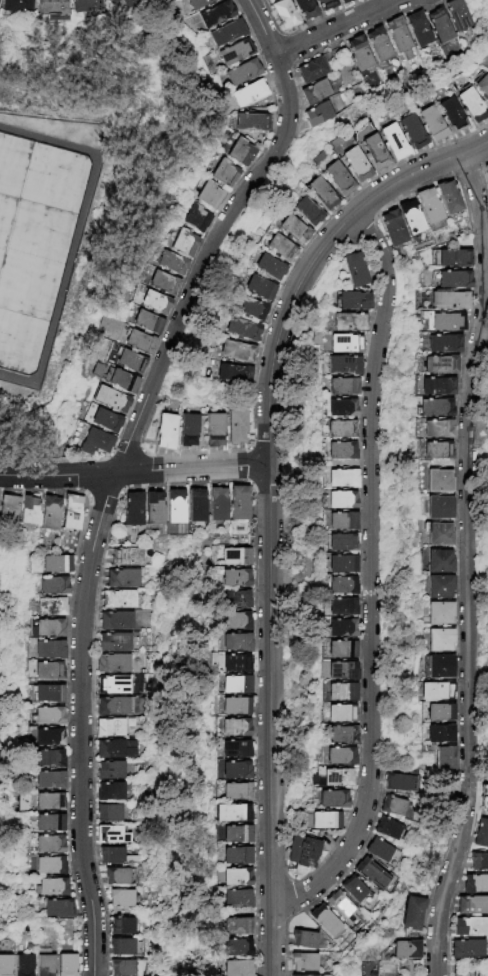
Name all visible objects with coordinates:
building: (113, 1)
building: (345, 1)
building: (131, 3)
building: (199, 4)
building: (85, 5)
building: (327, 5)
building: (17, 6)
building: (52, 9)
building: (306, 9)
building: (285, 14)
building: (216, 15)
building: (459, 15)
building: (440, 26)
building: (418, 29)
road: (339, 30)
building: (227, 33)
building: (399, 38)
building: (379, 45)
building: (235, 53)
building: (359, 54)
building: (487, 70)
building: (312, 71)
building: (242, 73)
building: (482, 87)
building: (316, 92)
building: (249, 94)
building: (472, 105)
building: (318, 115)
building: (452, 116)
building: (252, 122)
building: (433, 124)
building: (412, 132)
building: (394, 142)
building: (241, 152)
building: (375, 152)
building: (356, 164)
building: (486, 171)
building: (224, 173)
building: (338, 179)
building: (321, 194)
building: (210, 196)
building: (450, 198)
building: (430, 206)
building: (307, 212)
building: (412, 218)
building: (196, 219)
building: (394, 229)
building: (294, 230)
road: (76, 237)
building: (184, 243)
building: (280, 249)
building: (26, 253)
road: (314, 259)
building: (454, 259)
building: (171, 263)
building: (269, 268)
building: (355, 270)
building: (454, 280)
building: (163, 283)
building: (259, 289)
building: (354, 302)
building: (450, 302)
building: (155, 303)
building: (249, 308)
building: (147, 322)
building: (349, 323)
building: (447, 323)
building: (243, 330)
building: (138, 342)
building: (346, 344)
building: (444, 344)
building: (238, 352)
building: (130, 362)
building: (344, 366)
building: (440, 366)
building: (235, 374)
building: (115, 379)
building: (344, 387)
building: (438, 388)
building: (110, 400)
building: (436, 408)
building: (342, 409)
building: (105, 421)
building: (237, 427)
building: (342, 430)
building: (439, 430)
building: (190, 431)
building: (216, 431)
building: (168, 432)
building: (95, 443)
building: (342, 451)
building: (438, 452)
road: (121, 466)
road: (136, 471)
building: (343, 479)
building: (440, 482)
building: (341, 500)
building: (240, 504)
building: (218, 505)
building: (197, 506)
building: (177, 507)
building: (155, 508)
building: (134, 509)
building: (440, 509)
building: (8, 510)
building: (29, 511)
building: (72, 513)
building: (50, 514)
building: (342, 522)
building: (439, 535)
building: (341, 543)
building: (235, 557)
building: (128, 558)
building: (440, 562)
building: (56, 565)
building: (342, 565)
road: (468, 565)
road: (373, 578)
building: (123, 579)
building: (235, 579)
building: (342, 586)
building: (52, 587)
building: (440, 587)
building: (235, 600)
building: (118, 601)
building: (341, 607)
building: (50, 608)
building: (440, 614)
building: (116, 622)
building: (235, 622)
building: (342, 629)
building: (47, 630)
building: (440, 641)
building: (115, 643)
building: (236, 643)
building: (342, 650)
building: (49, 651)
building: (235, 664)
building: (113, 665)
building: (438, 668)
building: (342, 671)
building: (48, 672)
building: (114, 686)
building: (236, 686)
building: (436, 692)
building: (342, 693)
building: (48, 695)
building: (113, 707)
building: (235, 707)
building: (341, 714)
building: (440, 714)
building: (49, 717)
road: (272, 719)
building: (235, 728)
building: (110, 729)
building: (342, 735)
building: (440, 735)
building: (49, 739)
building: (116, 750)
building: (235, 750)
building: (341, 757)
building: (445, 758)
building: (48, 760)
building: (235, 771)
building: (111, 772)
building: (337, 778)
building: (49, 782)
building: (400, 784)
building: (111, 793)
building: (236, 793)
building: (487, 794)
building: (333, 800)
building: (48, 803)
building: (394, 807)
building: (109, 814)
building: (231, 814)
building: (326, 821)
building: (48, 824)
building: (388, 830)
building: (482, 834)
building: (236, 835)
building: (112, 836)
building: (49, 846)
building: (308, 853)
building: (384, 854)
building: (235, 856)
building: (117, 858)
building: (479, 862)
building: (49, 867)
building: (373, 874)
building: (118, 877)
building: (235, 878)
building: (475, 884)
building: (52, 889)
building: (354, 889)
building: (121, 899)
building: (236, 899)
building: (472, 905)
building: (342, 908)
building: (58, 910)
building: (411, 913)
building: (326, 921)
building: (470, 926)
building: (123, 927)
building: (236, 927)
building: (304, 940)
building: (123, 948)
building: (236, 948)
building: (468, 949)
building: (405, 950)
building: (304, 963)
building: (5, 964)
building: (45, 965)
building: (66, 965)
building: (24, 966)
building: (123, 968)
building: (236, 968)
building: (11, 975)
building: (302, 975)

